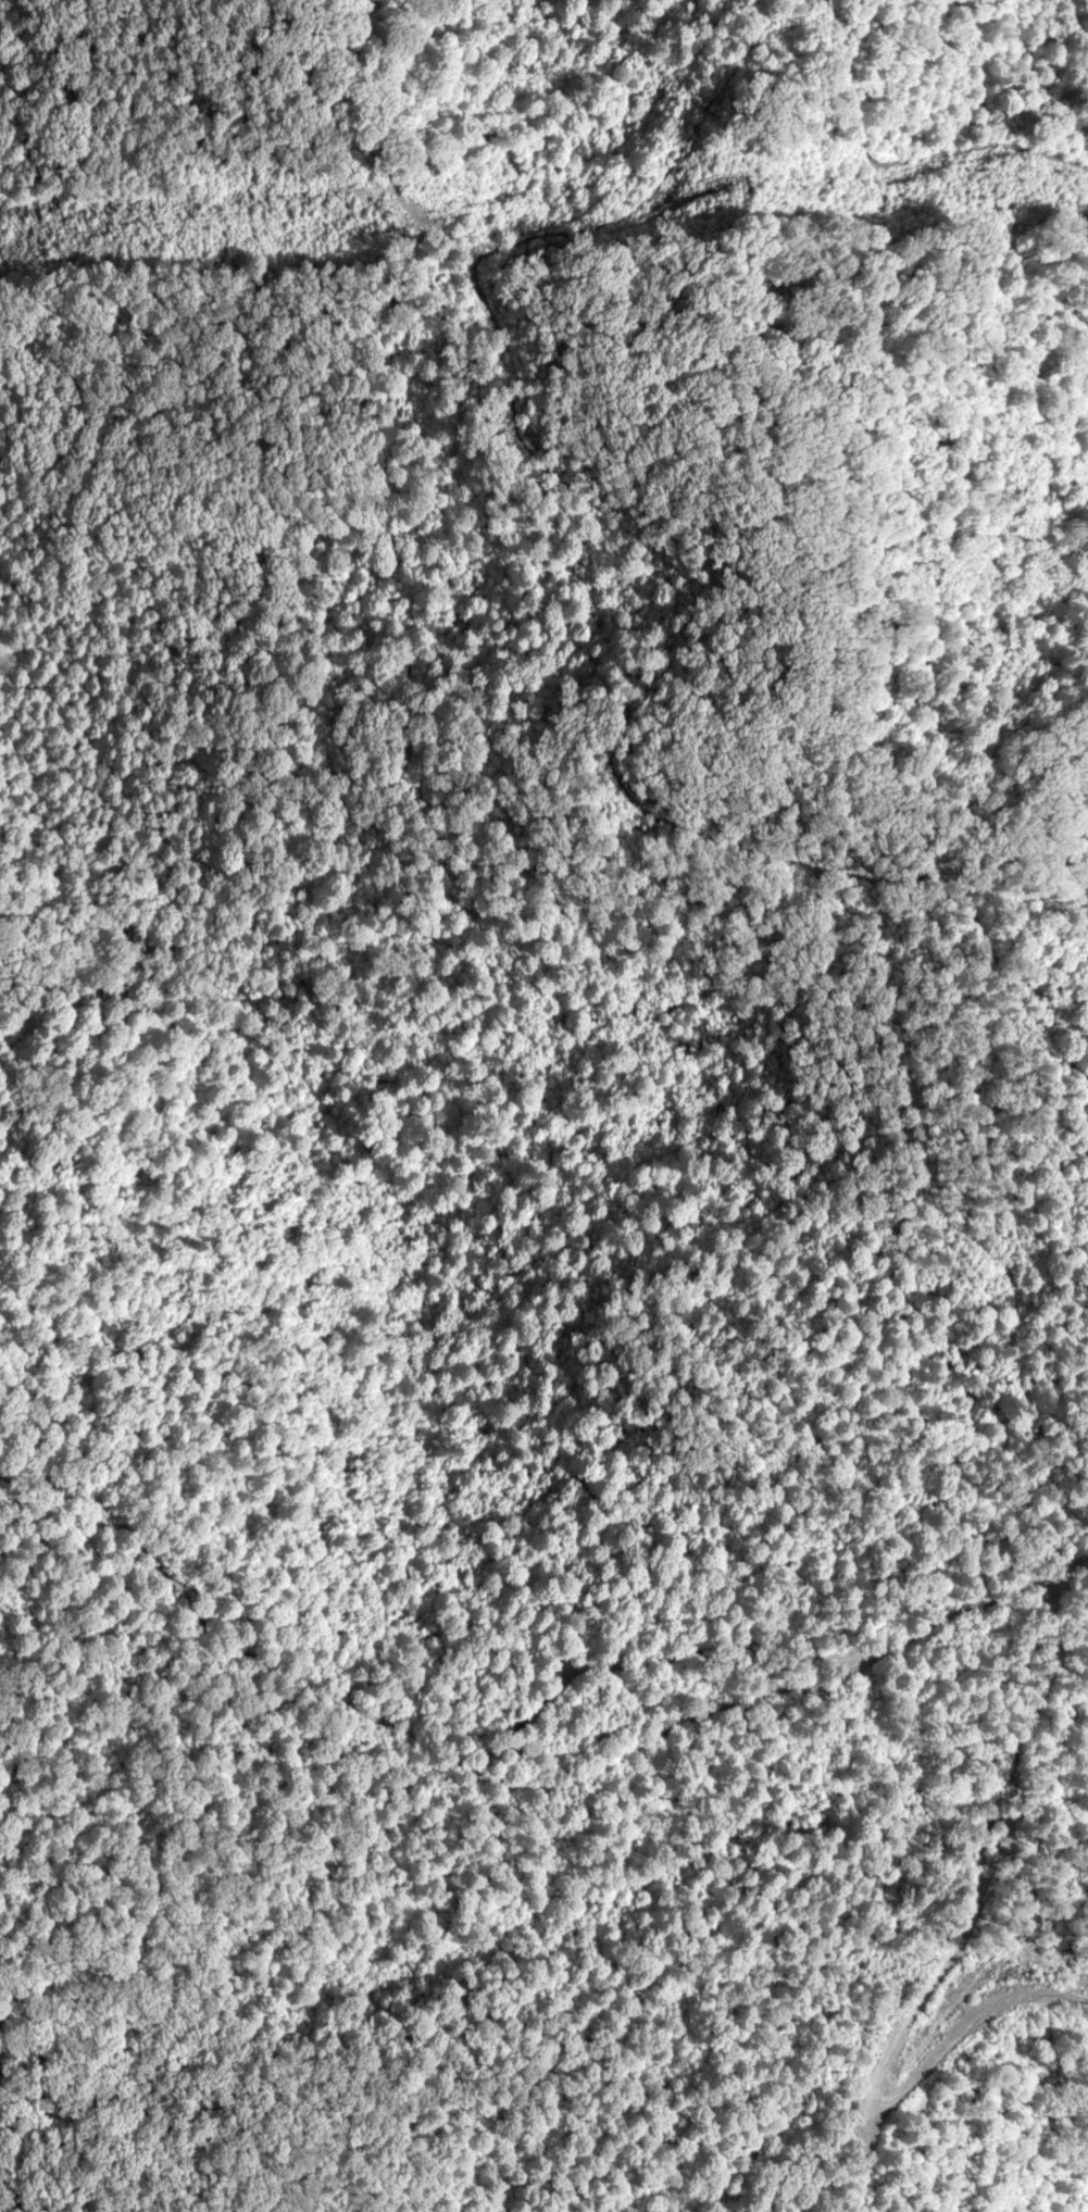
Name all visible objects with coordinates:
road: (533, 426)
road: (961, 1949)

